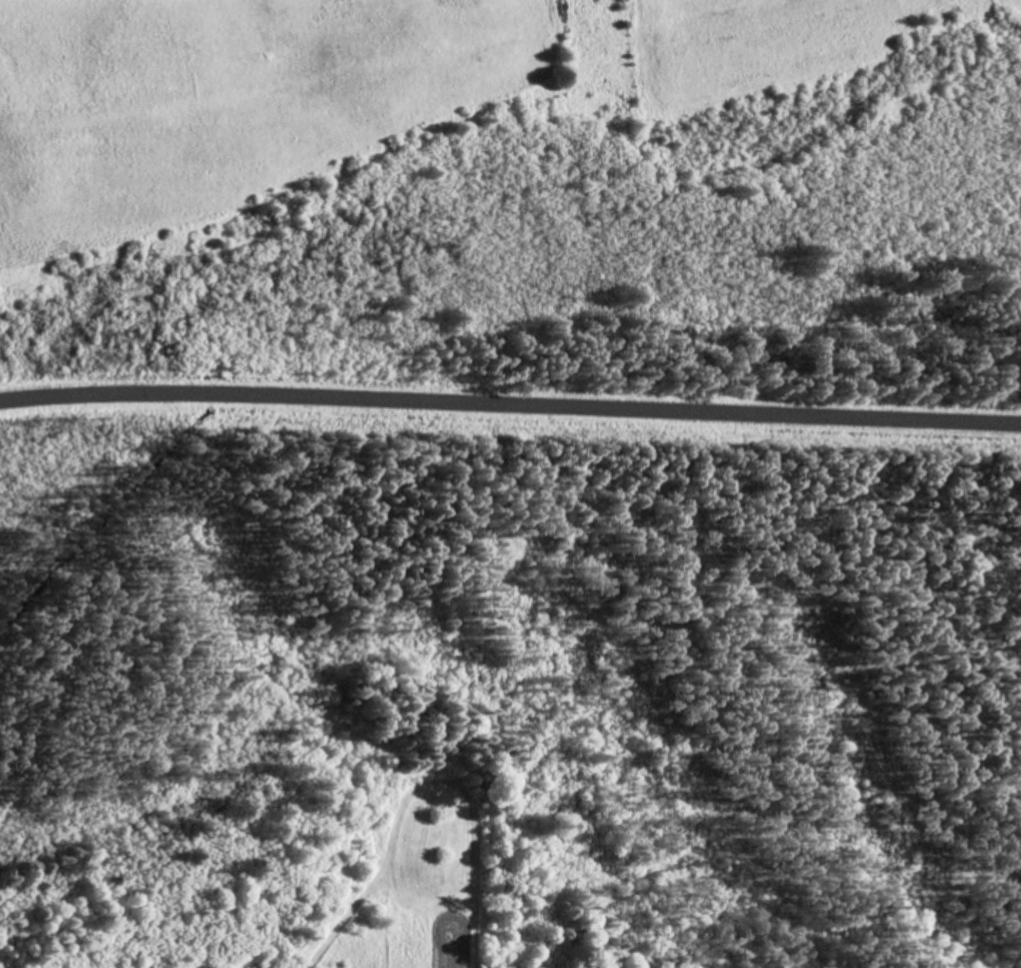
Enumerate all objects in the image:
road: (510, 403)

